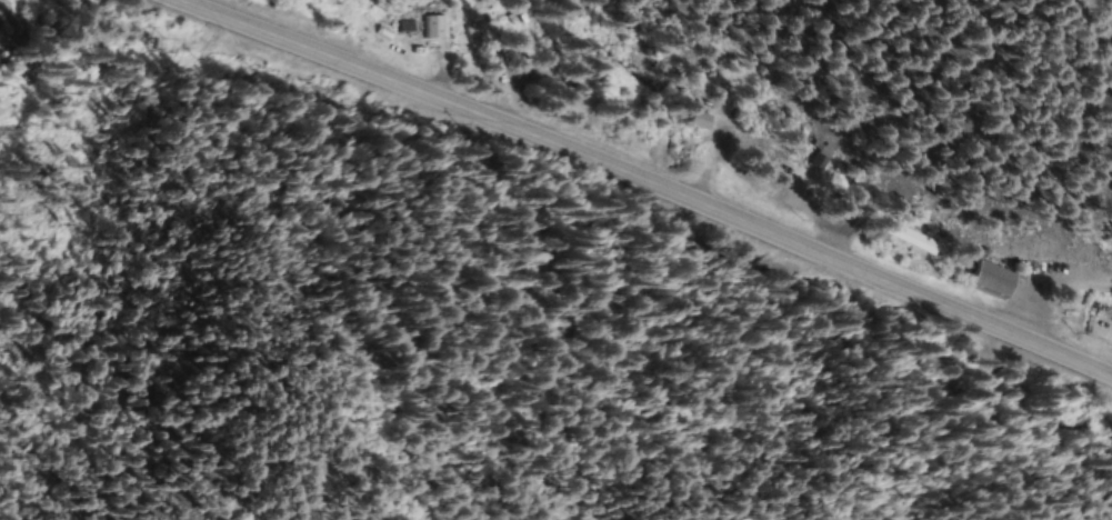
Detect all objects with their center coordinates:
building: (475, 34)
building: (701, 121)
road: (642, 182)
building: (912, 237)
building: (996, 280)

